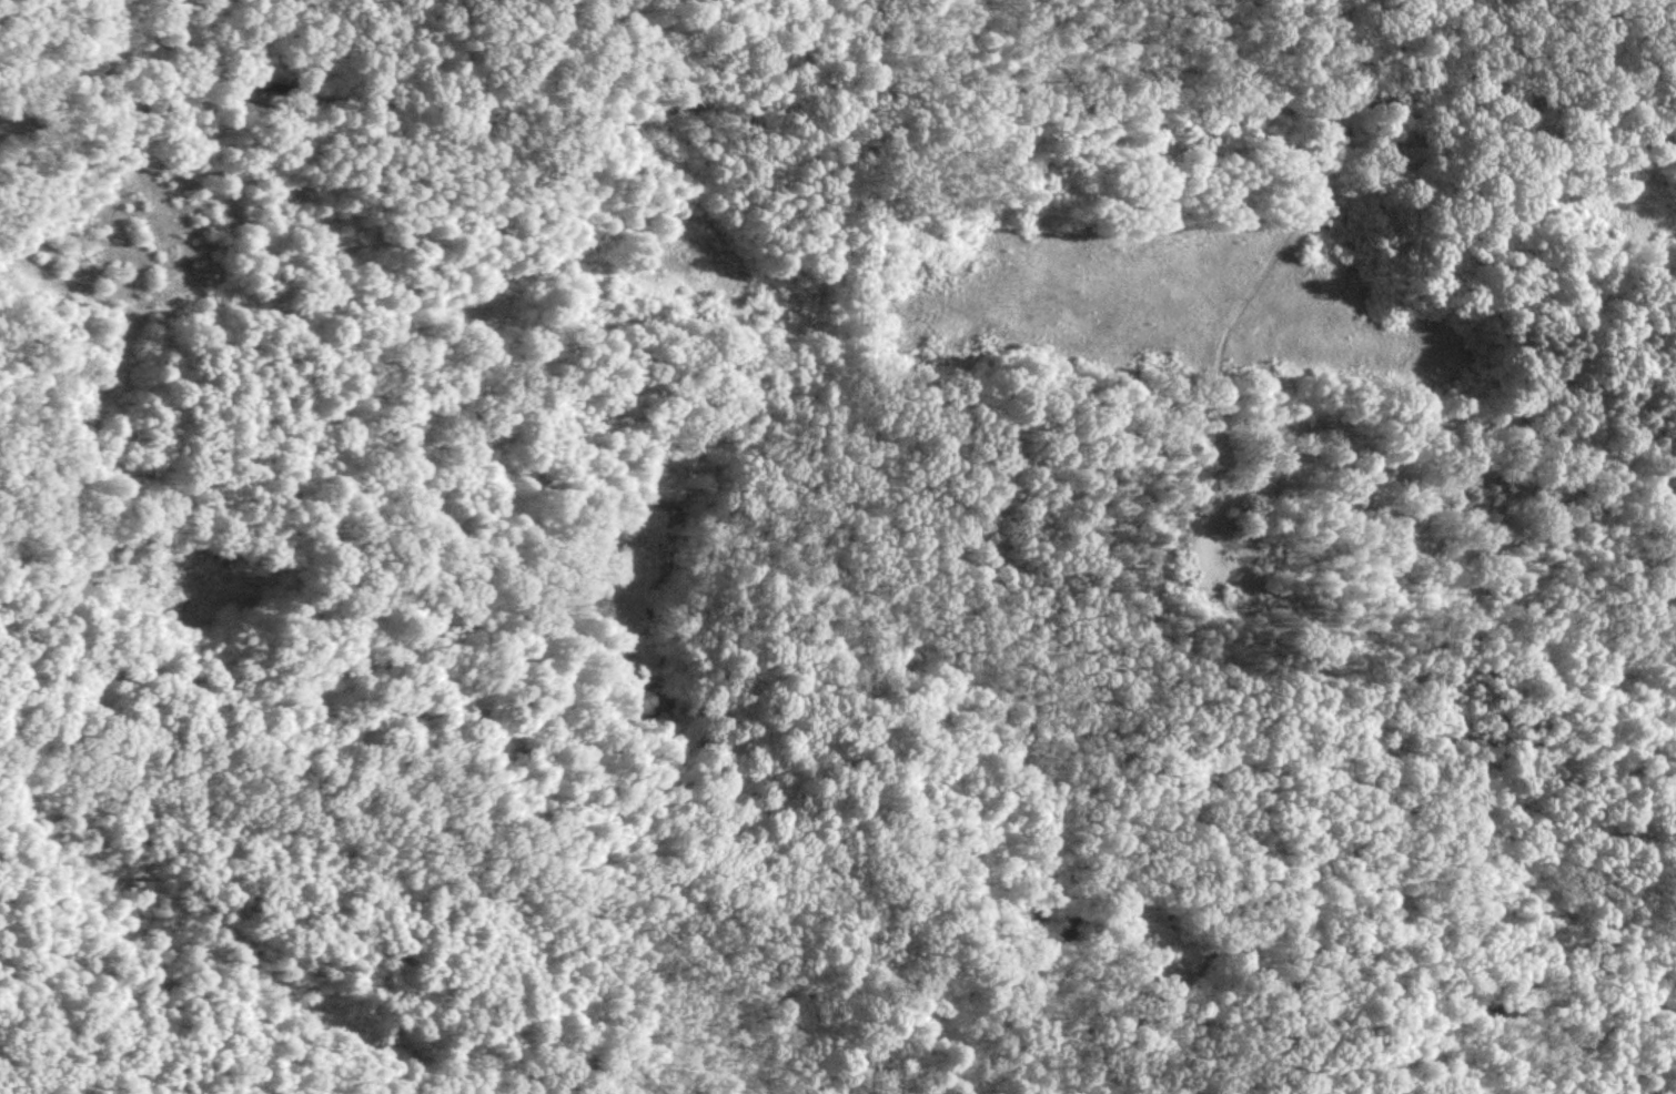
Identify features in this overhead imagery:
road: (837, 94)

